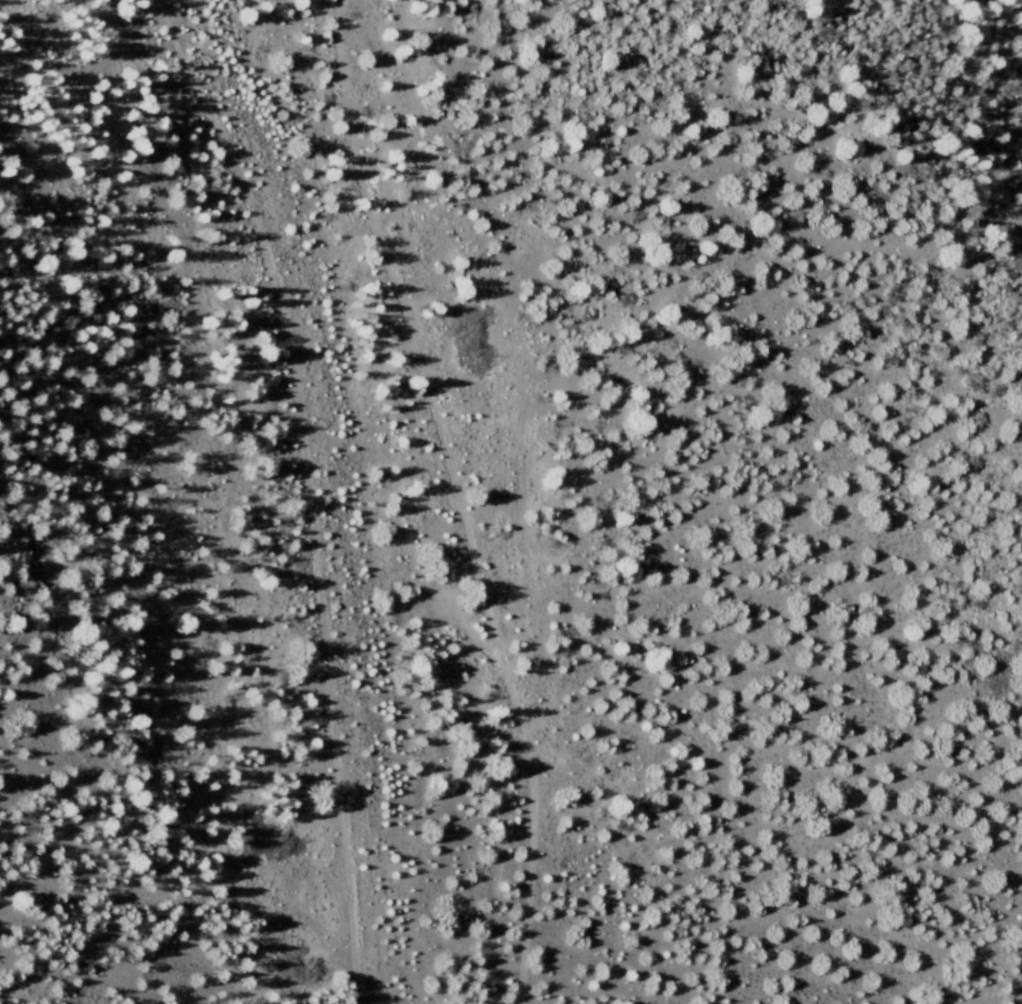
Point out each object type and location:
road: (308, 490)
road: (457, 498)

